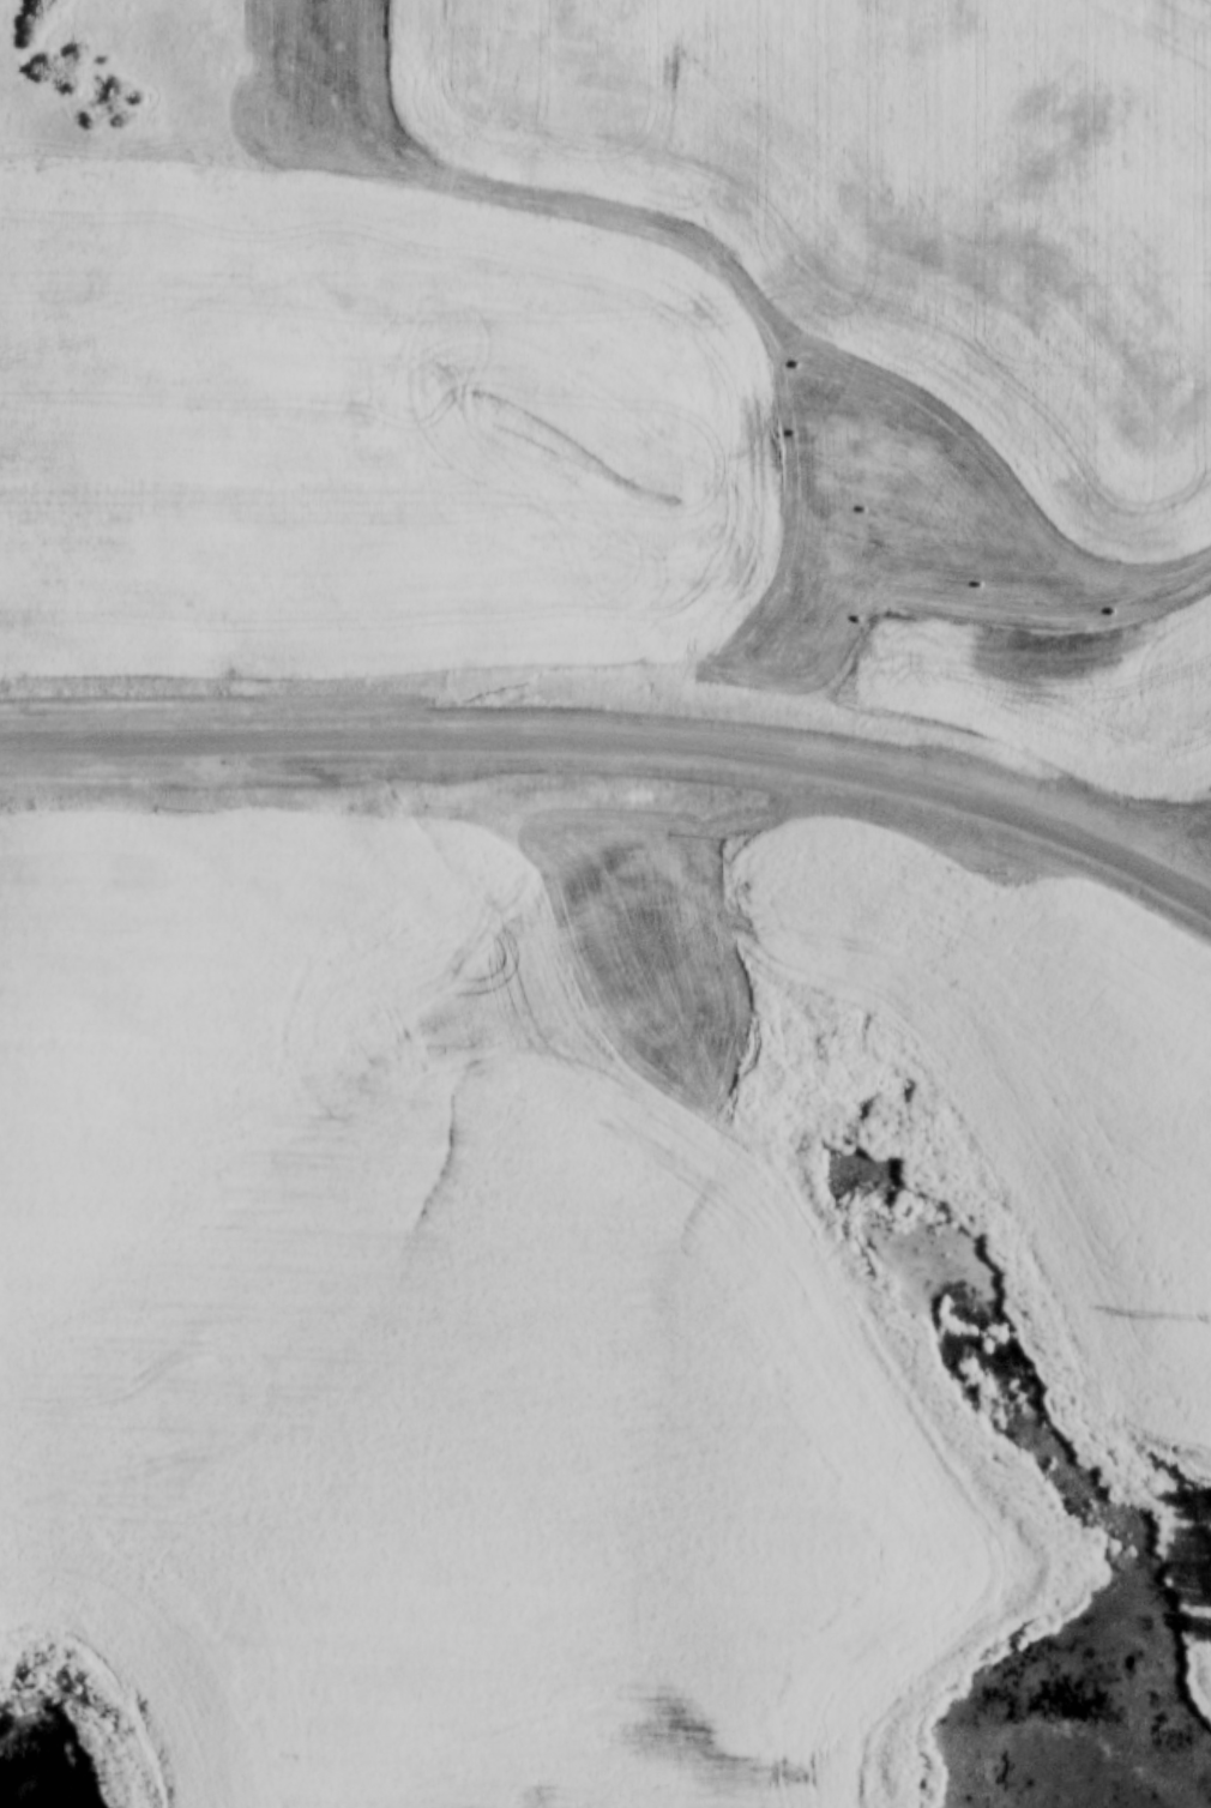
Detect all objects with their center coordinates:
road: (621, 729)

